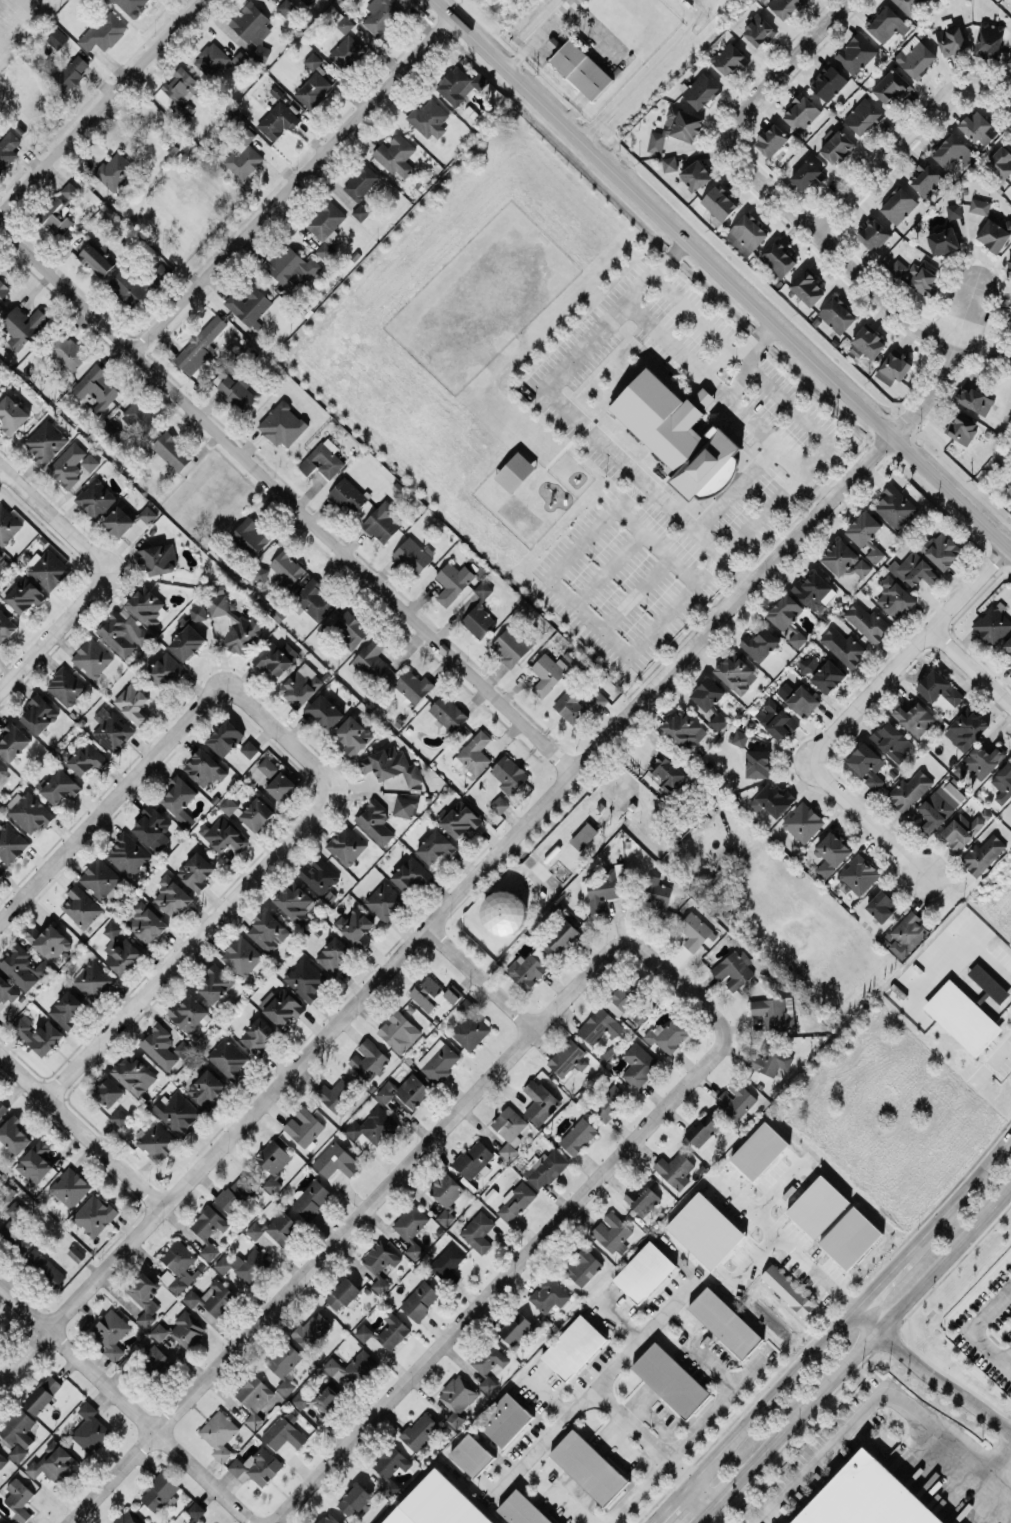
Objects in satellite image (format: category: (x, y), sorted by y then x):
building: (132, 5)
building: (909, 5)
building: (784, 6)
building: (286, 7)
building: (381, 15)
building: (345, 24)
building: (886, 24)
building: (252, 27)
building: (758, 30)
building: (103, 31)
road: (540, 34)
road: (593, 34)
building: (57, 37)
building: (951, 39)
building: (989, 40)
building: (346, 51)
building: (856, 52)
building: (915, 56)
building: (210, 58)
building: (240, 58)
building: (729, 58)
building: (312, 60)
building: (1008, 63)
road: (781, 66)
building: (581, 69)
building: (70, 72)
building: (828, 82)
building: (182, 84)
building: (459, 84)
building: (890, 86)
building: (312, 89)
building: (700, 90)
road: (373, 97)
road: (99, 104)
building: (801, 112)
building: (863, 116)
building: (429, 118)
building: (277, 120)
building: (676, 127)
building: (978, 127)
road: (907, 132)
building: (771, 139)
building: (836, 146)
building: (7, 148)
building: (952, 151)
building: (395, 154)
building: (243, 155)
building: (1000, 161)
building: (669, 163)
building: (114, 170)
building: (695, 175)
building: (807, 175)
building: (926, 178)
building: (360, 181)
building: (69, 189)
building: (898, 204)
building: (718, 205)
building: (979, 205)
building: (954, 210)
building: (360, 211)
building: (56, 215)
building: (326, 226)
building: (872, 233)
building: (994, 233)
building: (746, 234)
building: (943, 240)
road: (828, 249)
building: (778, 258)
building: (95, 259)
building: (1009, 263)
building: (289, 266)
road: (215, 267)
road: (719, 273)
building: (916, 275)
building: (126, 285)
building: (807, 287)
building: (3, 289)
building: (249, 304)
road: (613, 313)
building: (837, 314)
building: (22, 325)
road: (756, 339)
building: (866, 342)
building: (199, 345)
road: (982, 348)
building: (68, 351)
road: (742, 356)
road: (719, 363)
building: (896, 365)
road: (940, 368)
road: (736, 380)
building: (96, 387)
building: (236, 391)
building: (973, 399)
road: (729, 402)
building: (12, 414)
building: (140, 418)
building: (282, 424)
building: (107, 427)
building: (962, 427)
building: (678, 433)
building: (45, 441)
building: (172, 453)
road: (874, 456)
building: (322, 459)
building: (72, 464)
road: (0, 467)
building: (514, 471)
building: (1008, 485)
road: (734, 488)
road: (649, 489)
building: (348, 495)
building: (94, 498)
road: (285, 499)
road: (772, 501)
building: (895, 506)
building: (147, 513)
road: (56, 521)
building: (118, 521)
building: (382, 522)
building: (7, 524)
building: (866, 534)
building: (250, 535)
building: (940, 549)
road: (1007, 550)
building: (412, 554)
building: (0, 555)
building: (839, 556)
building: (156, 559)
building: (286, 566)
building: (861, 567)
building: (48, 569)
building: (914, 569)
building: (261, 573)
building: (452, 581)
building: (814, 590)
building: (23, 593)
building: (894, 597)
building: (313, 599)
building: (146, 605)
building: (784, 611)
building: (198, 612)
building: (479, 613)
road: (587, 618)
building: (233, 621)
building: (866, 621)
building: (992, 624)
building: (6, 626)
building: (345, 630)
building: (122, 632)
road: (56, 635)
building: (797, 638)
building: (187, 642)
building: (759, 643)
building: (511, 645)
building: (843, 646)
building: (1007, 647)
road: (907, 655)
building: (274, 656)
building: (91, 657)
building: (371, 659)
building: (1010, 663)
building: (808, 664)
building: (165, 669)
road: (970, 669)
building: (735, 672)
building: (547, 673)
building: (828, 676)
building: (301, 685)
building: (413, 685)
building: (65, 686)
building: (939, 687)
building: (707, 693)
building: (799, 698)
building: (133, 703)
building: (577, 705)
building: (323, 711)
building: (448, 712)
building: (39, 713)
building: (775, 718)
building: (914, 718)
building: (717, 720)
building: (111, 728)
building: (684, 728)
building: (966, 728)
building: (353, 735)
building: (225, 737)
building: (739, 737)
building: (12, 740)
building: (891, 740)
building: (249, 748)
building: (472, 754)
building: (87, 758)
building: (979, 761)
building: (758, 763)
building: (866, 764)
building: (390, 765)
building: (268, 767)
building: (203, 768)
building: (665, 771)
building: (509, 774)
building: (3, 775)
road: (137, 777)
building: (1003, 782)
building: (59, 786)
building: (281, 786)
building: (909, 789)
building: (179, 799)
building: (772, 800)
building: (499, 804)
building: (940, 804)
building: (228, 805)
building: (404, 806)
building: (28, 811)
building: (256, 813)
road: (864, 817)
building: (458, 819)
building: (375, 821)
building: (802, 821)
building: (152, 827)
building: (961, 830)
building: (223, 834)
building: (583, 835)
building: (11, 843)
building: (346, 844)
building: (435, 846)
building: (127, 853)
building: (830, 853)
building: (982, 854)
building: (196, 871)
building: (410, 873)
building: (858, 874)
building: (319, 875)
building: (100, 879)
building: (601, 887)
building: (657, 893)
building: (172, 895)
building: (383, 900)
building: (295, 902)
building: (80, 905)
building: (881, 905)
building: (504, 911)
road: (228, 916)
building: (146, 922)
building: (355, 926)
road: (430, 928)
building: (267, 930)
building: (694, 930)
building: (907, 934)
building: (561, 935)
building: (48, 940)
road: (964, 940)
building: (121, 949)
building: (241, 955)
building: (333, 955)
building: (24, 967)
building: (528, 967)
building: (732, 969)
building: (305, 978)
road: (481, 979)
building: (93, 980)
building: (215, 982)
building: (988, 982)
road: (678, 986)
building: (7, 991)
building: (433, 993)
building: (625, 993)
building: (280, 1006)
building: (66, 1009)
building: (188, 1013)
building: (962, 1017)
building: (599, 1025)
building: (469, 1026)
building: (398, 1031)
building: (39, 1034)
building: (257, 1034)
building: (668, 1034)
building: (159, 1046)
building: (182, 1048)
road: (997, 1055)
building: (228, 1058)
building: (567, 1058)
building: (368, 1059)
building: (770, 1059)
building: (438, 1060)
building: (638, 1064)
building: (134, 1073)
building: (206, 1087)
building: (404, 1090)
building: (108, 1091)
building: (335, 1094)
building: (736, 1099)
building: (539, 1101)
building: (609, 1101)
building: (2, 1108)
building: (177, 1112)
building: (118, 1116)
building: (303, 1126)
building: (371, 1127)
building: (509, 1129)
building: (701, 1129)
road: (80, 1131)
building: (578, 1135)
building: (157, 1142)
building: (474, 1158)
building: (335, 1160)
building: (34, 1162)
building: (272, 1162)
building: (544, 1169)
building: (674, 1169)
building: (69, 1187)
building: (7, 1191)
road: (962, 1192)
building: (235, 1194)
building: (311, 1198)
building: (642, 1199)
building: (515, 1200)
building: (93, 1214)
building: (15, 1224)
building: (276, 1227)
building: (411, 1228)
building: (208, 1229)
road: (344, 1230)
building: (478, 1231)
building: (613, 1232)
road: (785, 1240)
building: (75, 1253)
building: (446, 1261)
building: (380, 1262)
building: (244, 1264)
building: (44, 1266)
building: (179, 1266)
building: (583, 1266)
building: (644, 1271)
road: (880, 1278)
road: (500, 1281)
building: (788, 1289)
building: (343, 1293)
building: (549, 1295)
building: (211, 1297)
building: (144, 1298)
building: (420, 1300)
road: (619, 1317)
road: (865, 1320)
building: (725, 1322)
building: (517, 1327)
building: (187, 1328)
road: (978, 1328)
building: (312, 1330)
building: (159, 1331)
building: (386, 1331)
building: (109, 1332)
road: (644, 1332)
building: (573, 1346)
road: (864, 1347)
road: (1007, 1356)
building: (489, 1358)
building: (158, 1359)
road: (713, 1364)
building: (284, 1365)
building: (351, 1367)
building: (671, 1379)
building: (487, 1383)
road: (944, 1384)
road: (593, 1390)
building: (42, 1393)
road: (547, 1395)
road: (875, 1397)
building: (254, 1398)
building: (457, 1398)
building: (318, 1399)
road: (763, 1403)
road: (124, 1406)
road: (714, 1407)
building: (505, 1419)
building: (89, 1428)
building: (420, 1430)
building: (18, 1432)
building: (219, 1433)
building: (283, 1433)
building: (471, 1454)
building: (2, 1459)
building: (391, 1461)
road: (998, 1461)
building: (53, 1462)
building: (256, 1466)
building: (589, 1466)
road: (635, 1490)
building: (159, 1491)
road: (701, 1495)
building: (866, 1497)
building: (18, 1498)
building: (354, 1499)
building: (437, 1504)
road: (574, 1506)
building: (522, 1509)
building: (195, 1510)
road: (663, 1511)
road: (703, 1514)
building: (126, 1518)
building: (328, 1518)
building: (191, 1521)
building: (0, 1522)

